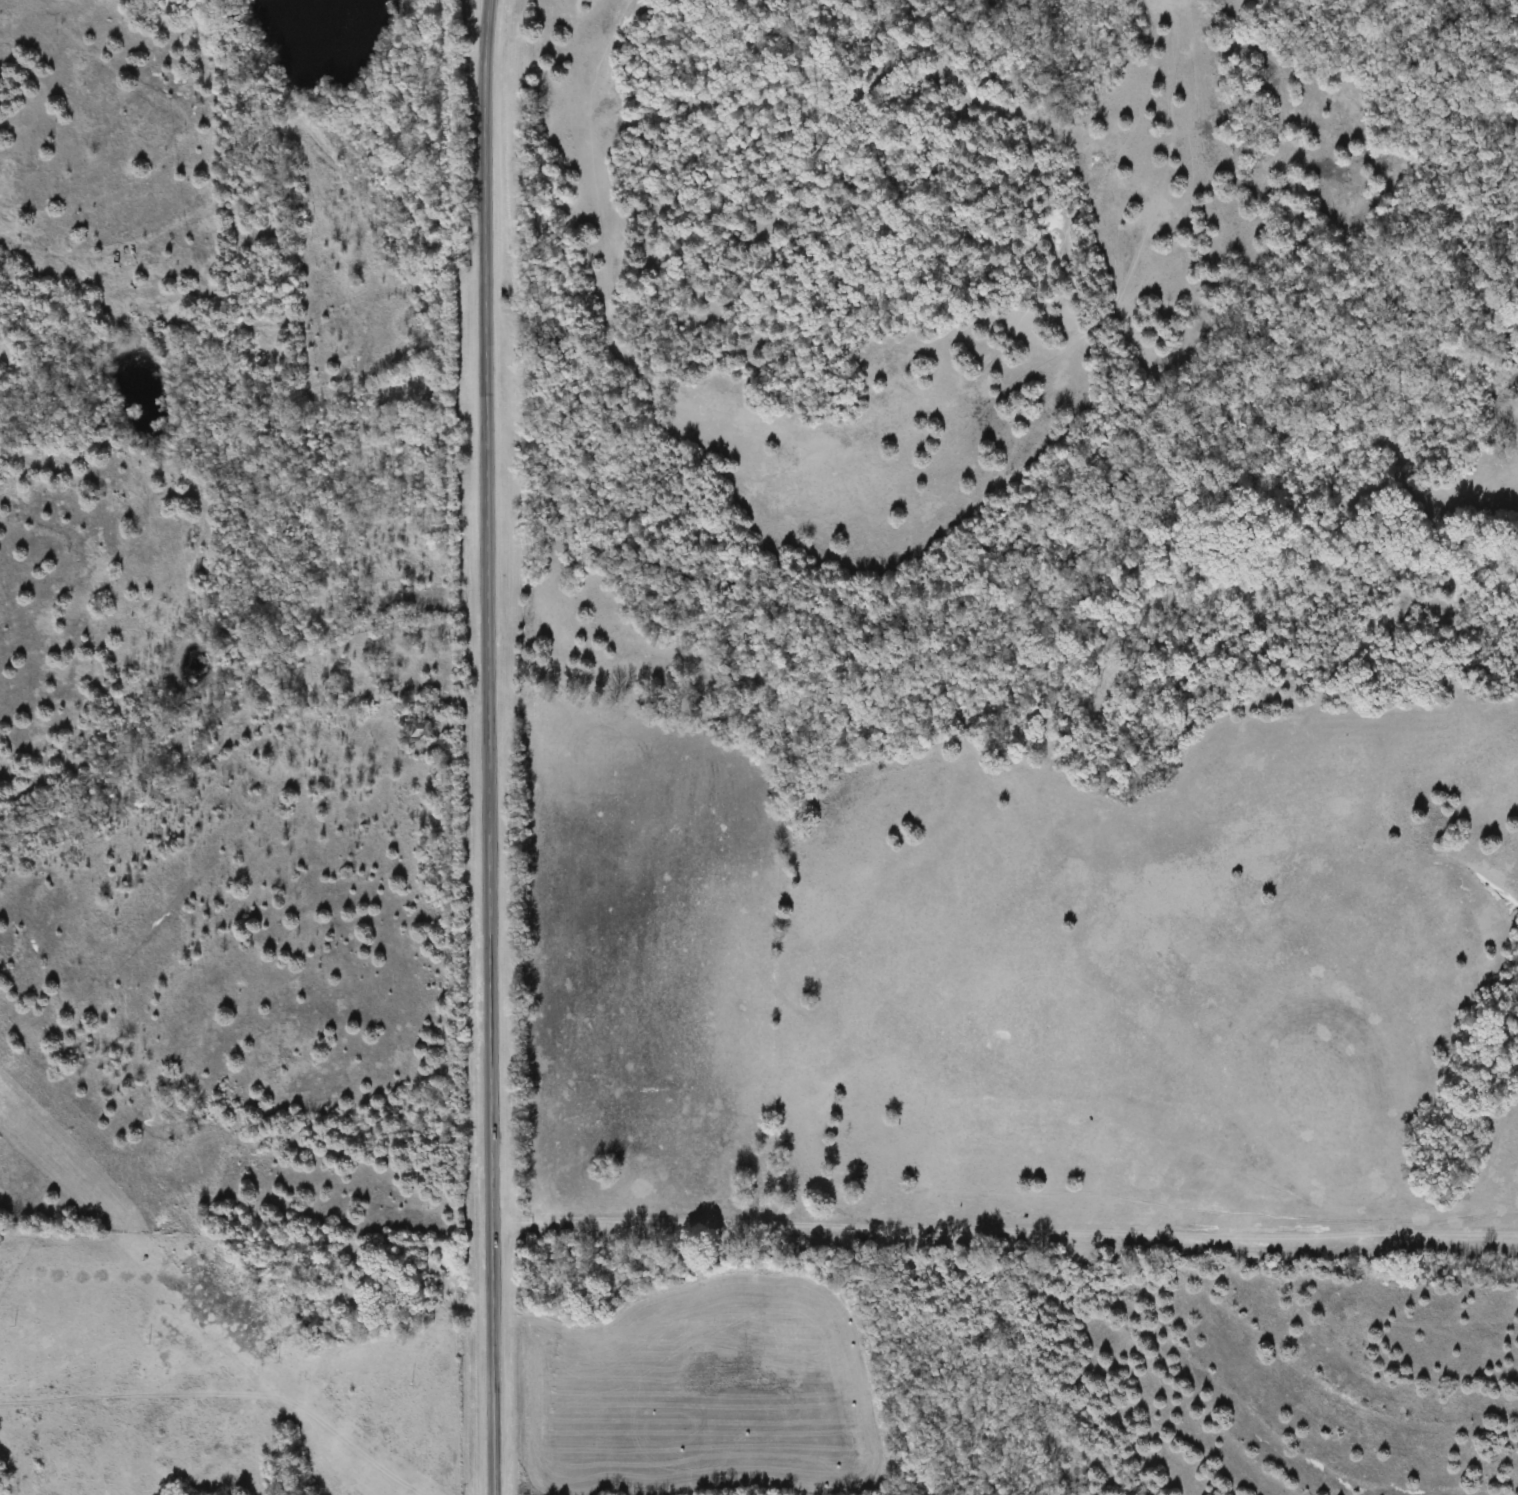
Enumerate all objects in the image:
building: (419, 732)
road: (492, 747)
road: (230, 1392)

